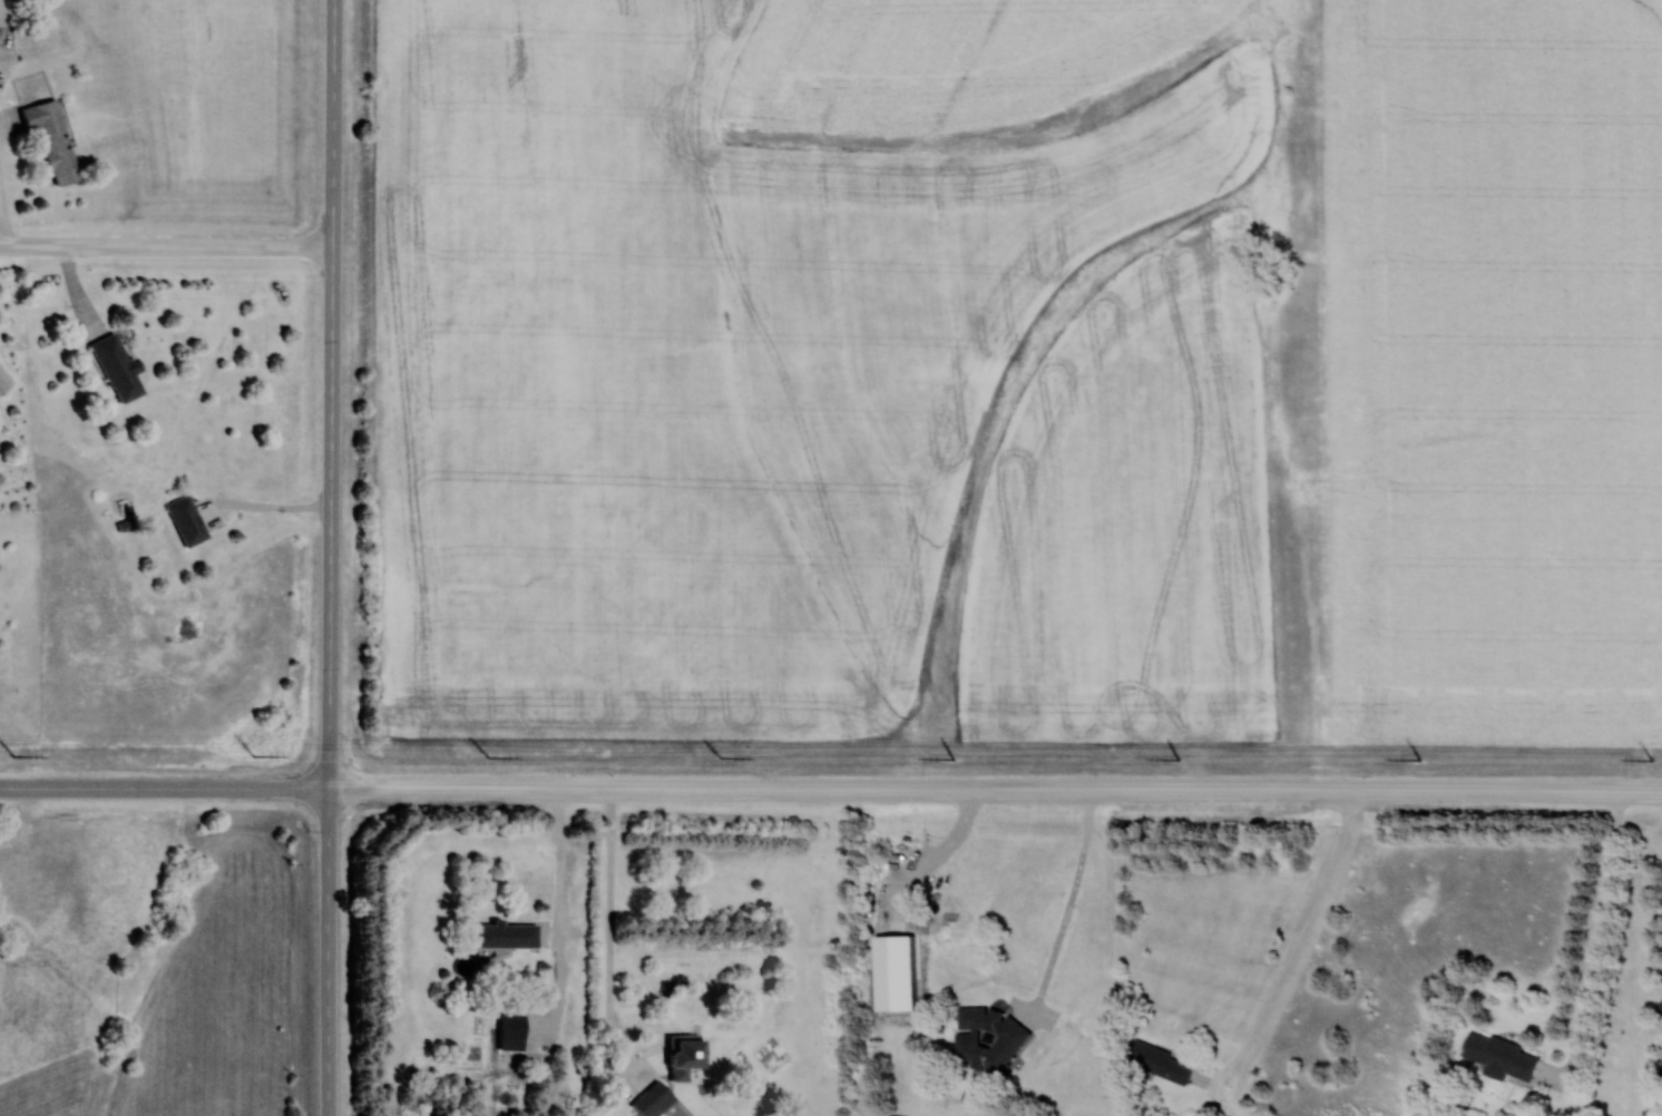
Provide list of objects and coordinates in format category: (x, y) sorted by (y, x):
building: (52, 137)
road: (165, 246)
building: (119, 370)
building: (4, 381)
building: (187, 520)
road: (329, 557)
power tower: (13, 756)
power tower: (254, 756)
power tower: (487, 757)
power tower: (723, 757)
power tower: (1419, 758)
power tower: (1652, 758)
power tower: (954, 760)
power tower: (1180, 760)
road: (164, 789)
road: (995, 789)
road: (558, 862)
road: (1074, 888)
road: (608, 931)
road: (1303, 933)
building: (507, 934)
road: (1597, 934)
building: (1660, 1007)
building: (991, 1039)
building: (687, 1053)
building: (1500, 1056)
building: (657, 1096)
building: (900, 1115)

